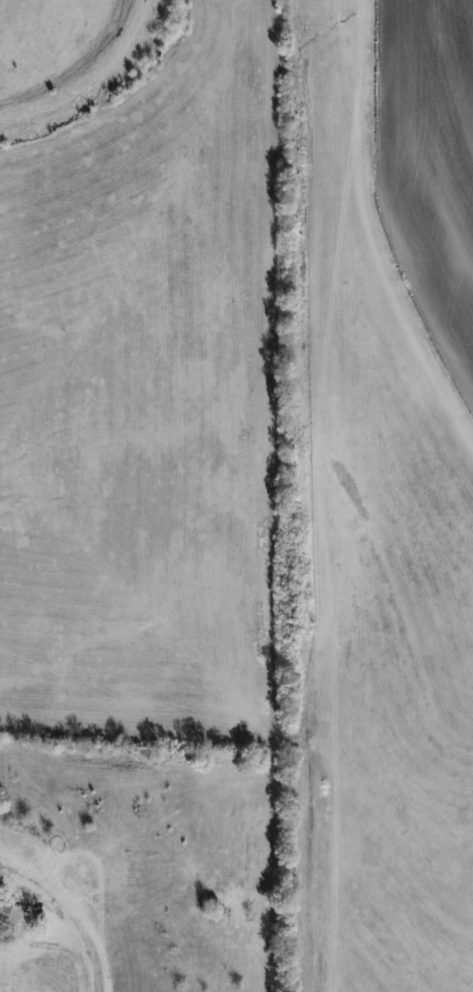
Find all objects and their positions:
building: (6, 912)
road: (64, 924)

